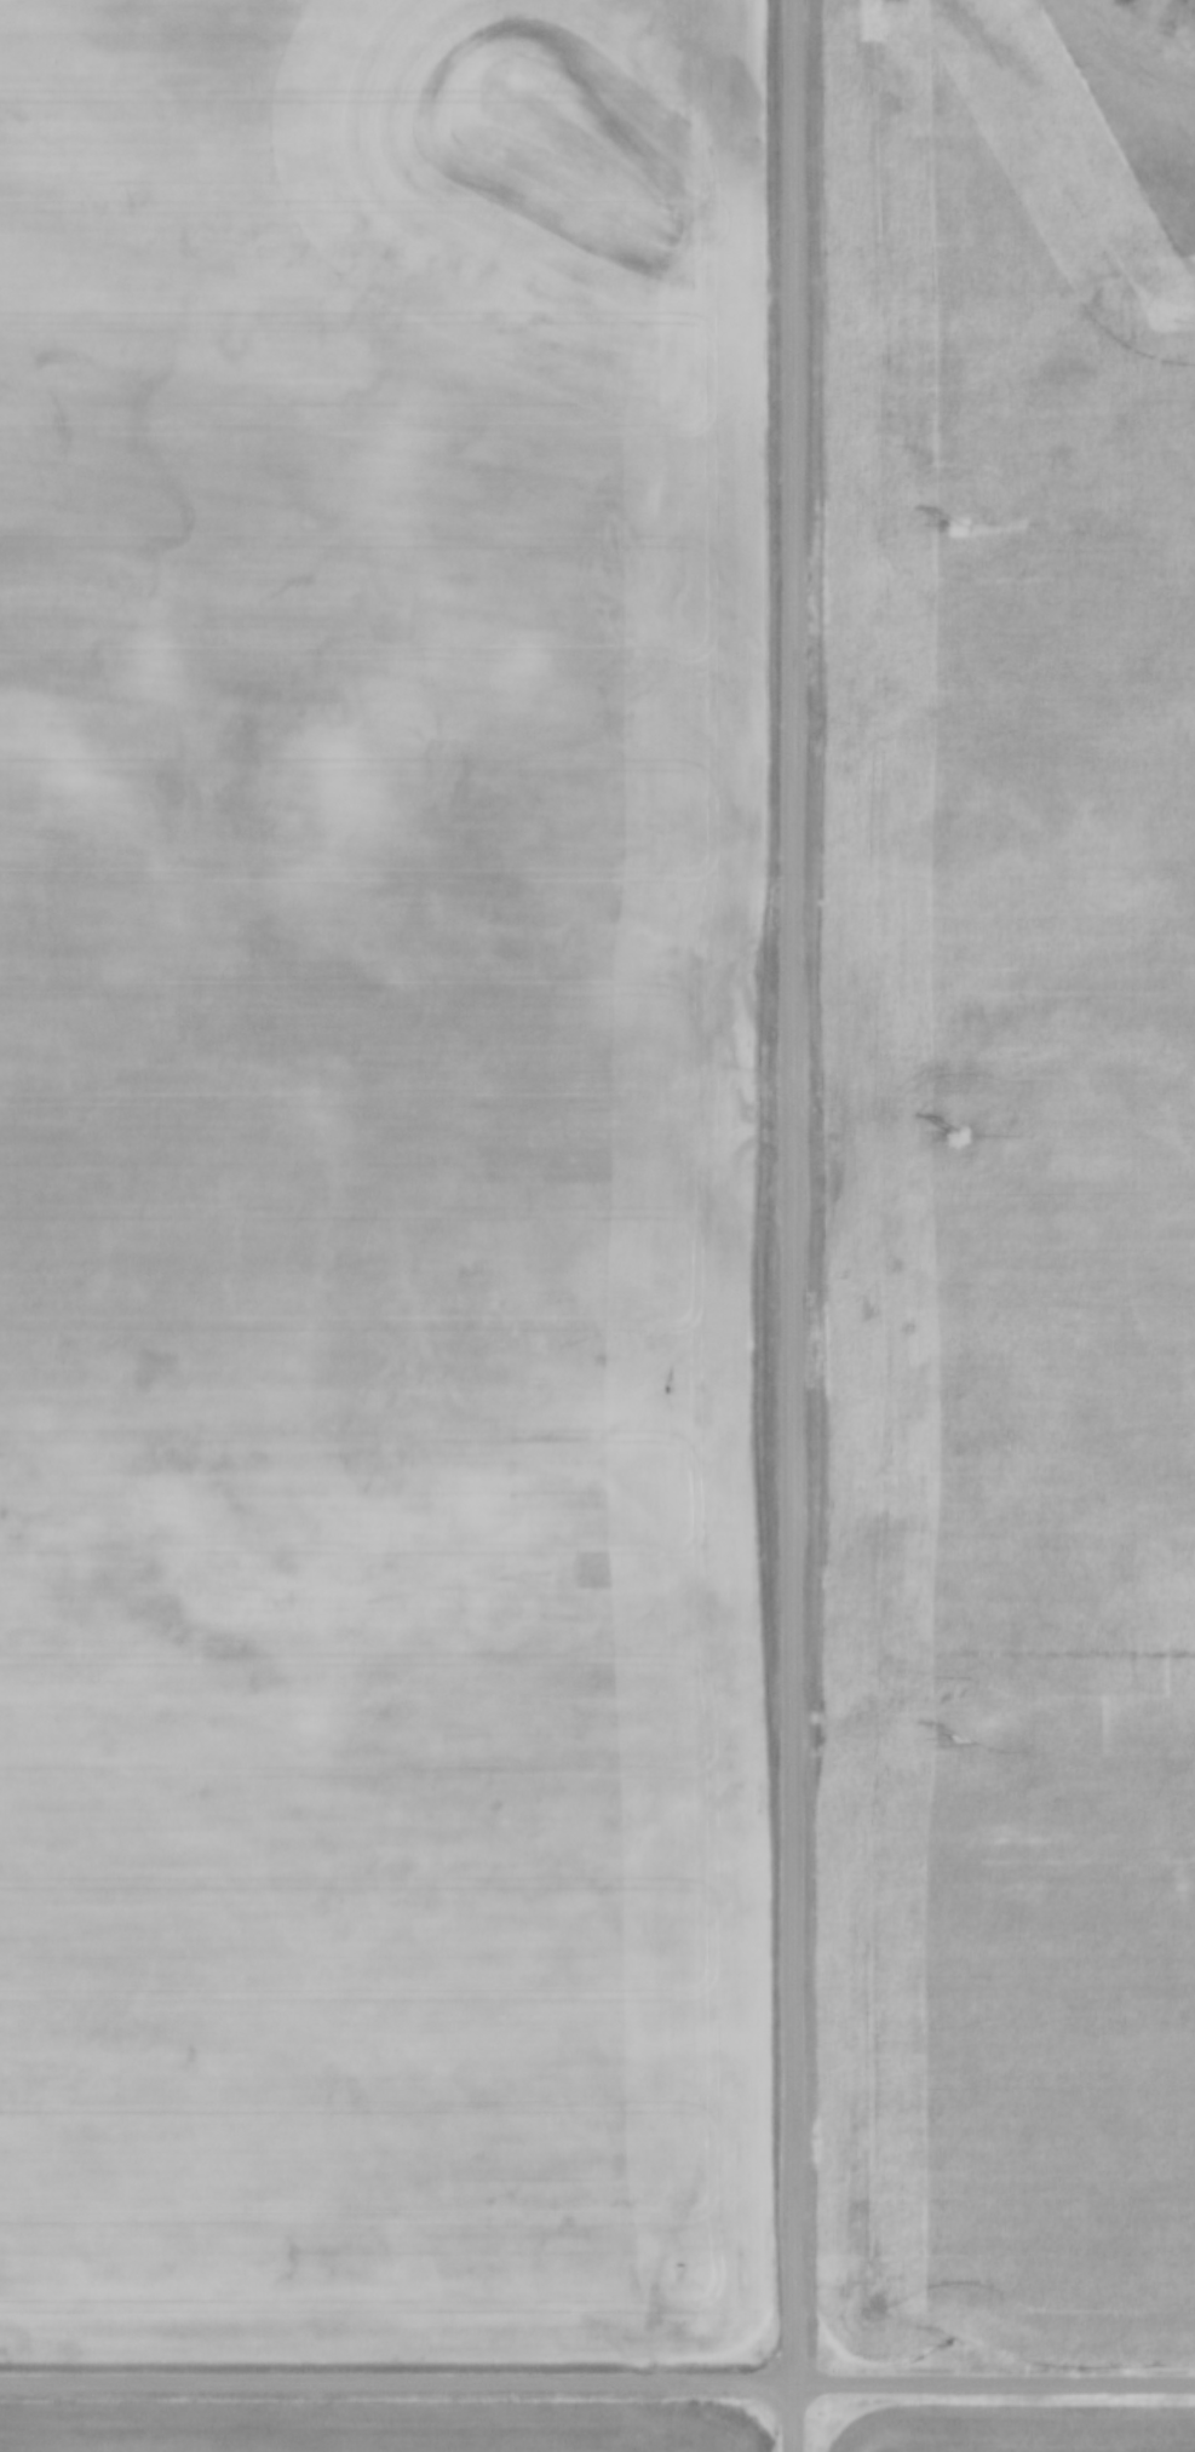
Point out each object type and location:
road: (789, 1225)
road: (597, 2381)

